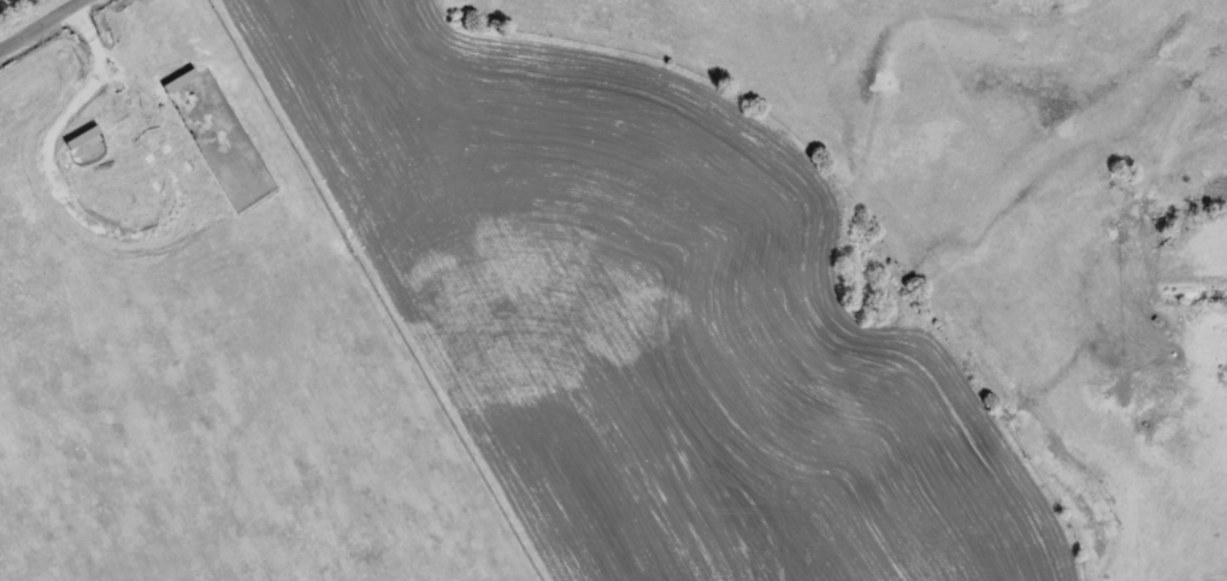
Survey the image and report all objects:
road: (41, 25)

